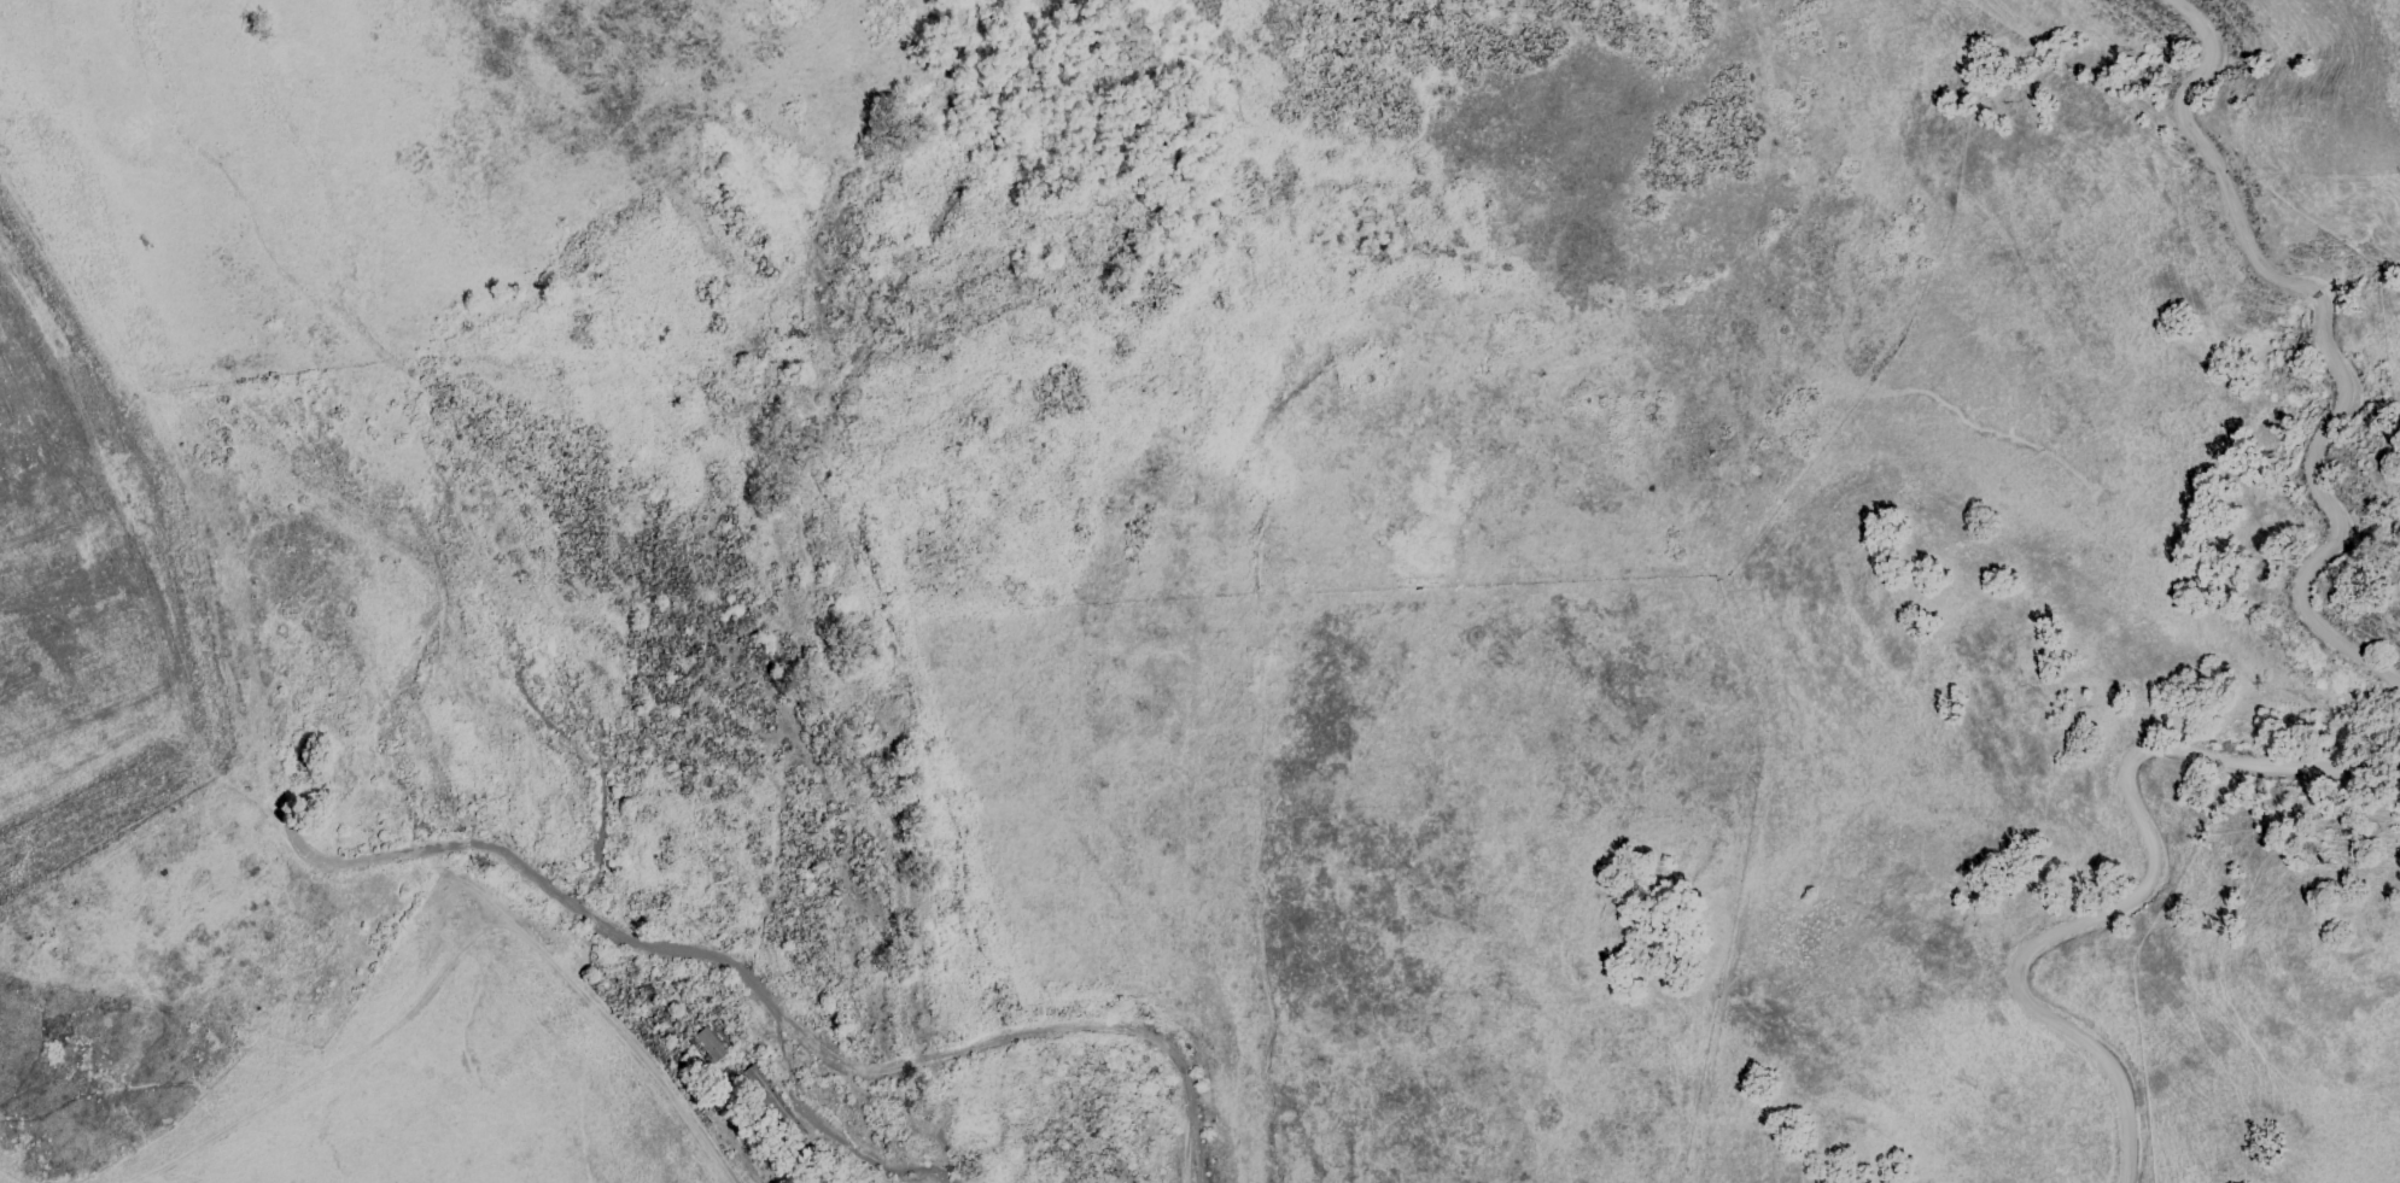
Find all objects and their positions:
road: (2336, 340)
road: (2141, 889)
road: (778, 1025)
road: (362, 1050)

